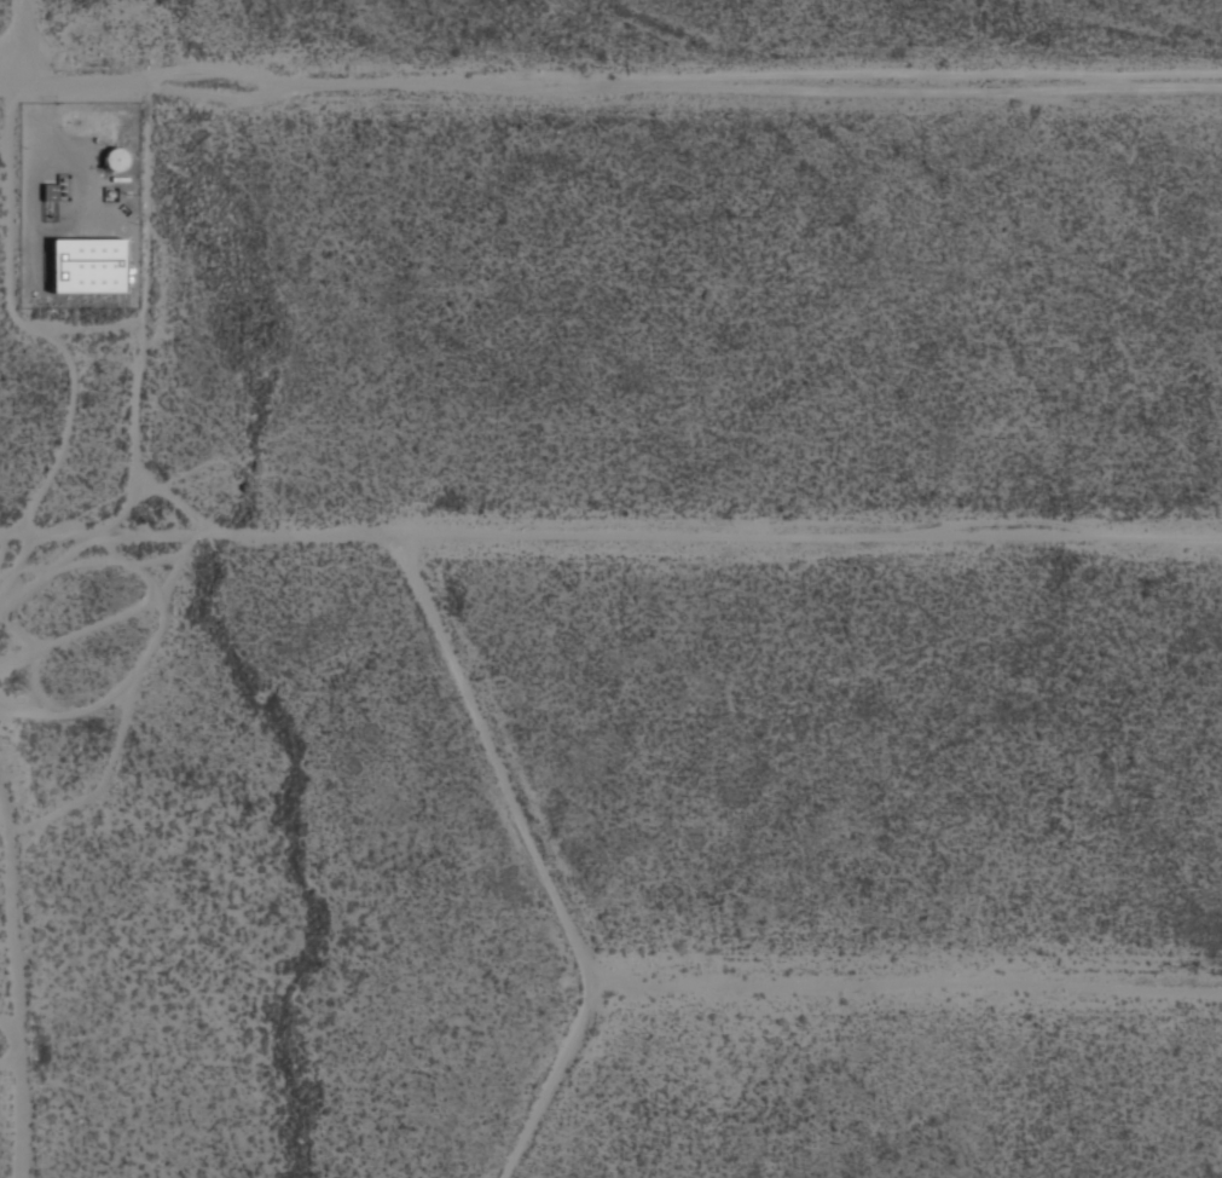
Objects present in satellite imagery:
road: (610, 86)
building: (115, 157)
storage tank: (115, 157)
building: (48, 192)
road: (34, 230)
building: (86, 265)
road: (29, 324)
road: (95, 329)
road: (138, 341)
road: (127, 508)
road: (610, 538)
road: (546, 857)
road: (913, 981)

